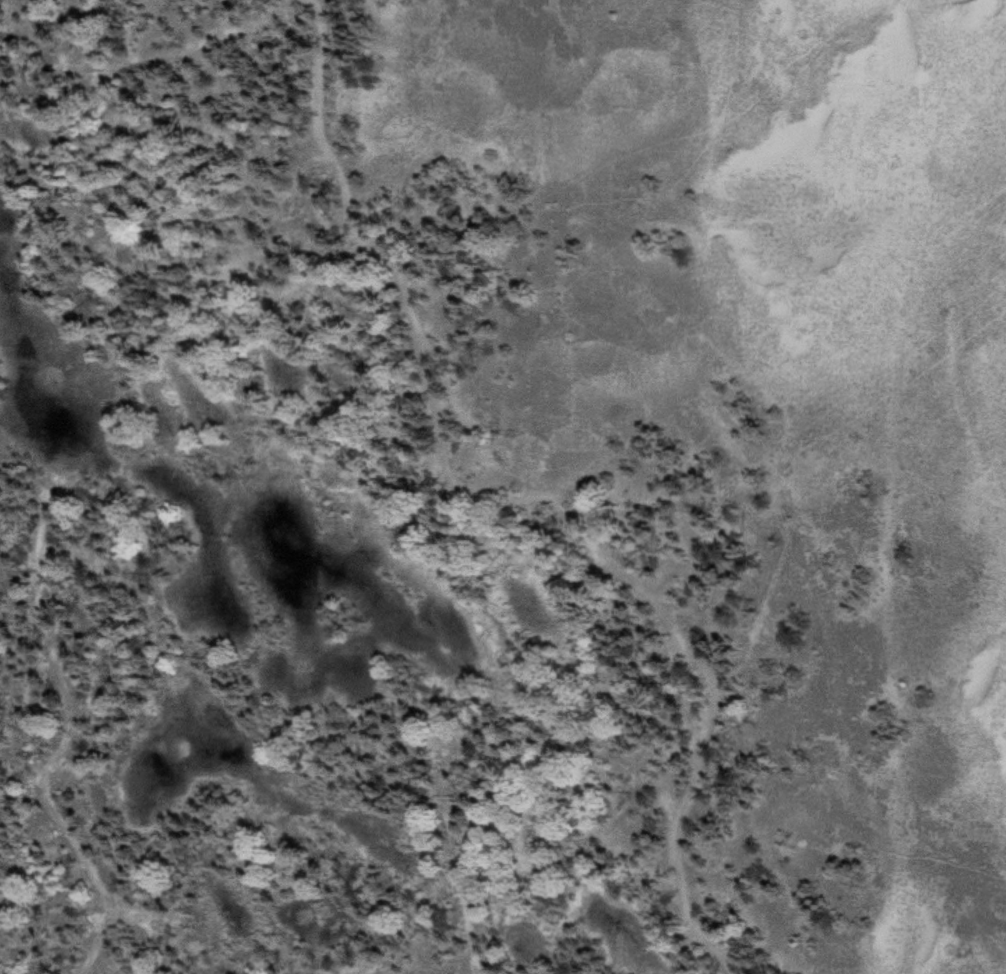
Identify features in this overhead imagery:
park: (503, 487)

